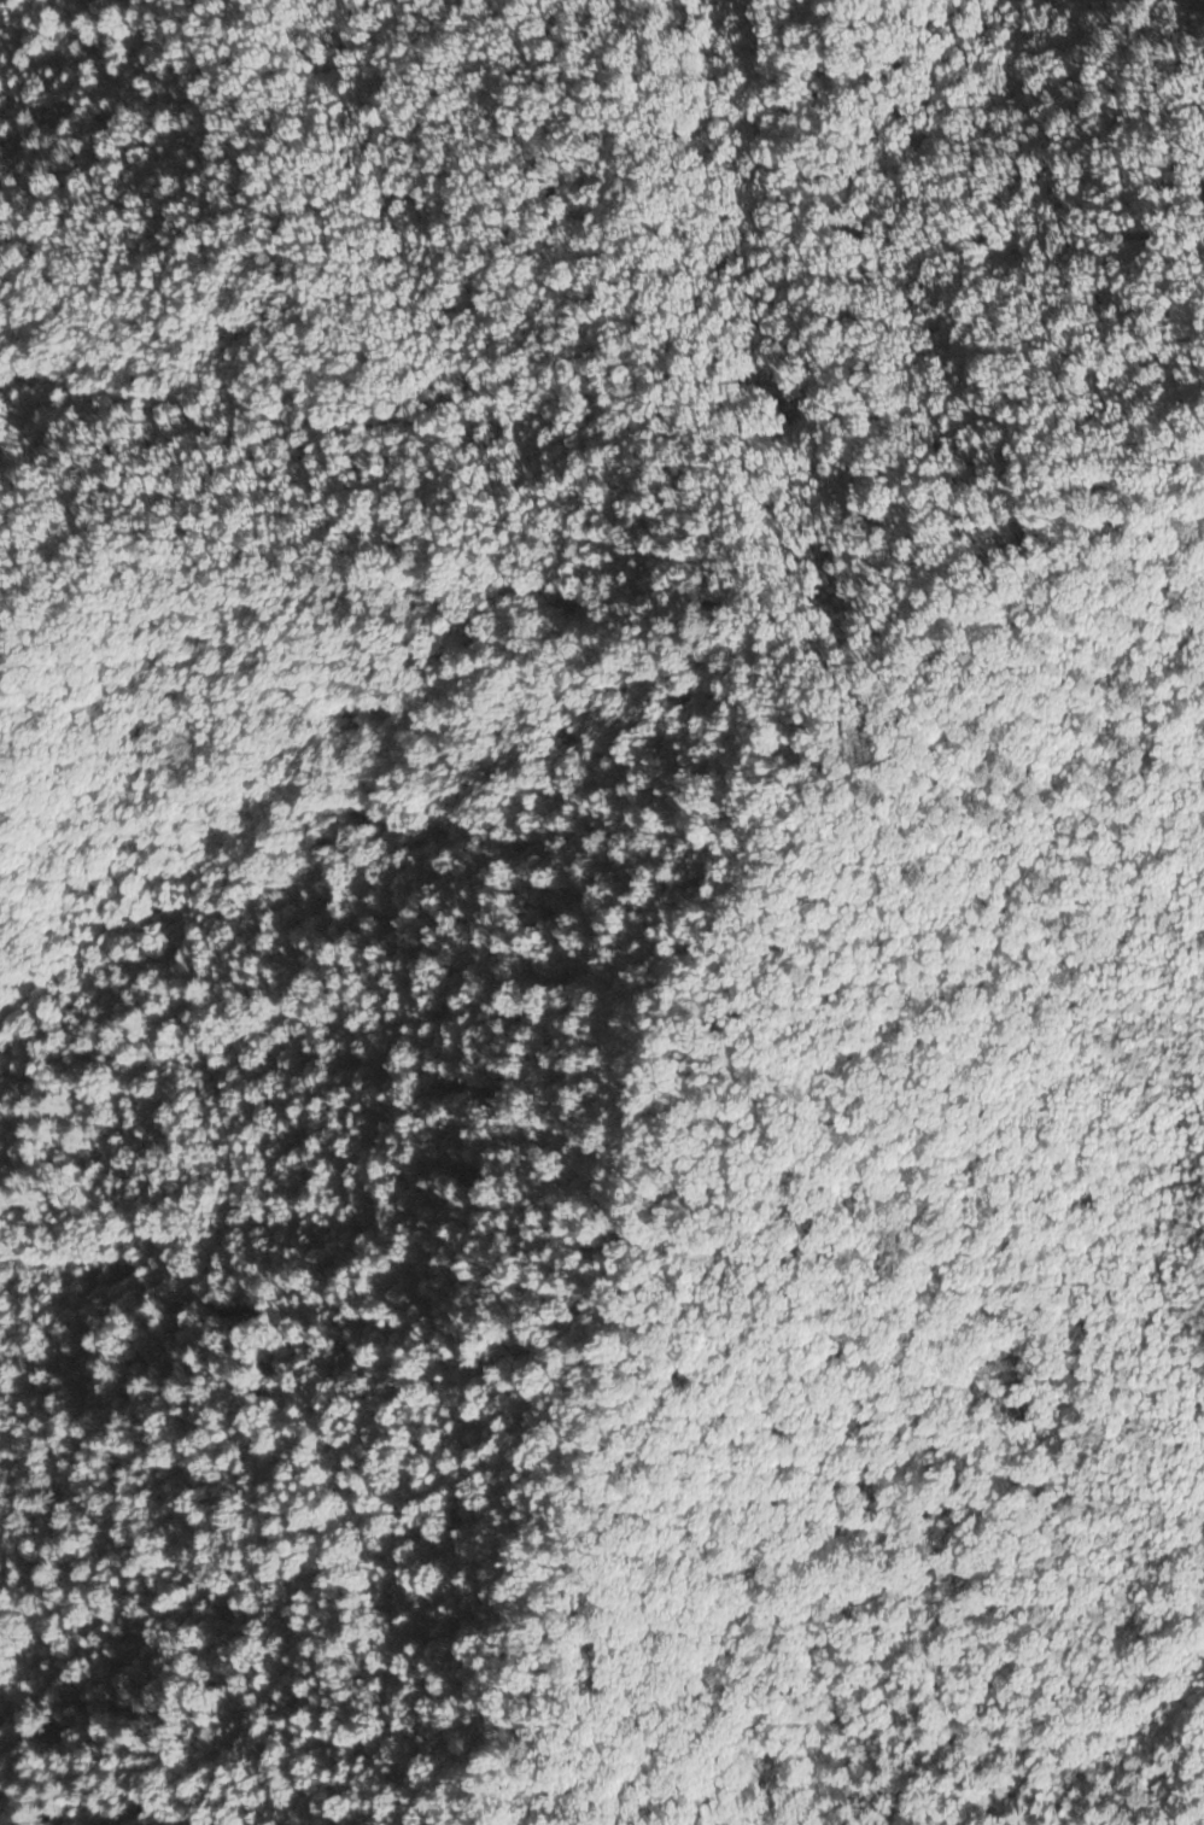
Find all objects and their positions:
road: (4, 1807)

